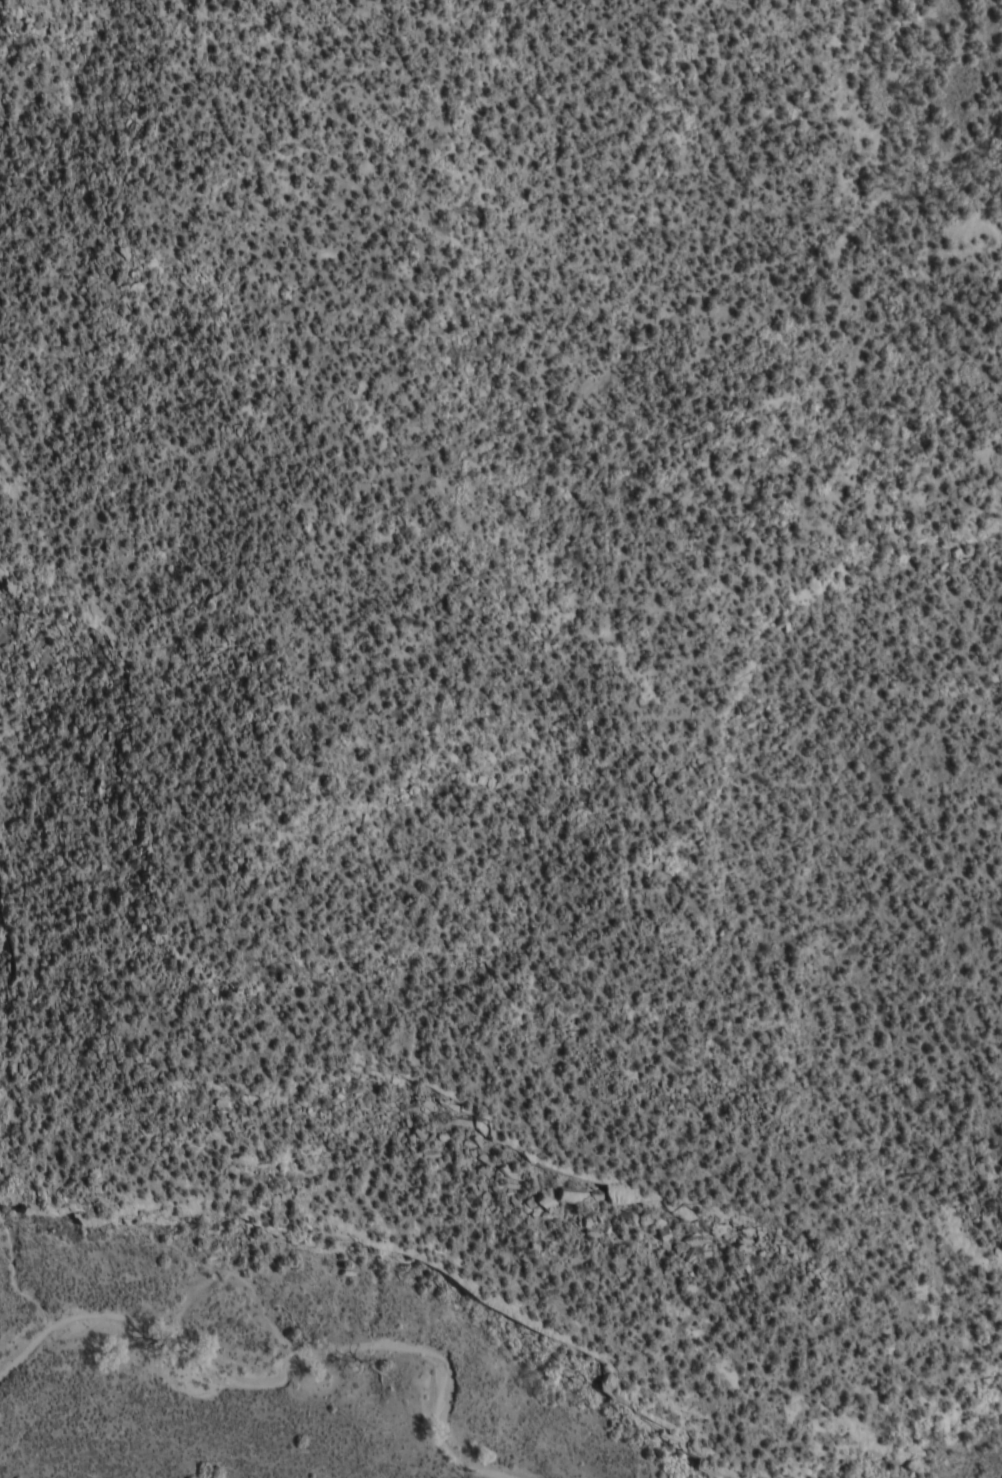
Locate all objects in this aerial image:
river: (289, 1337)

